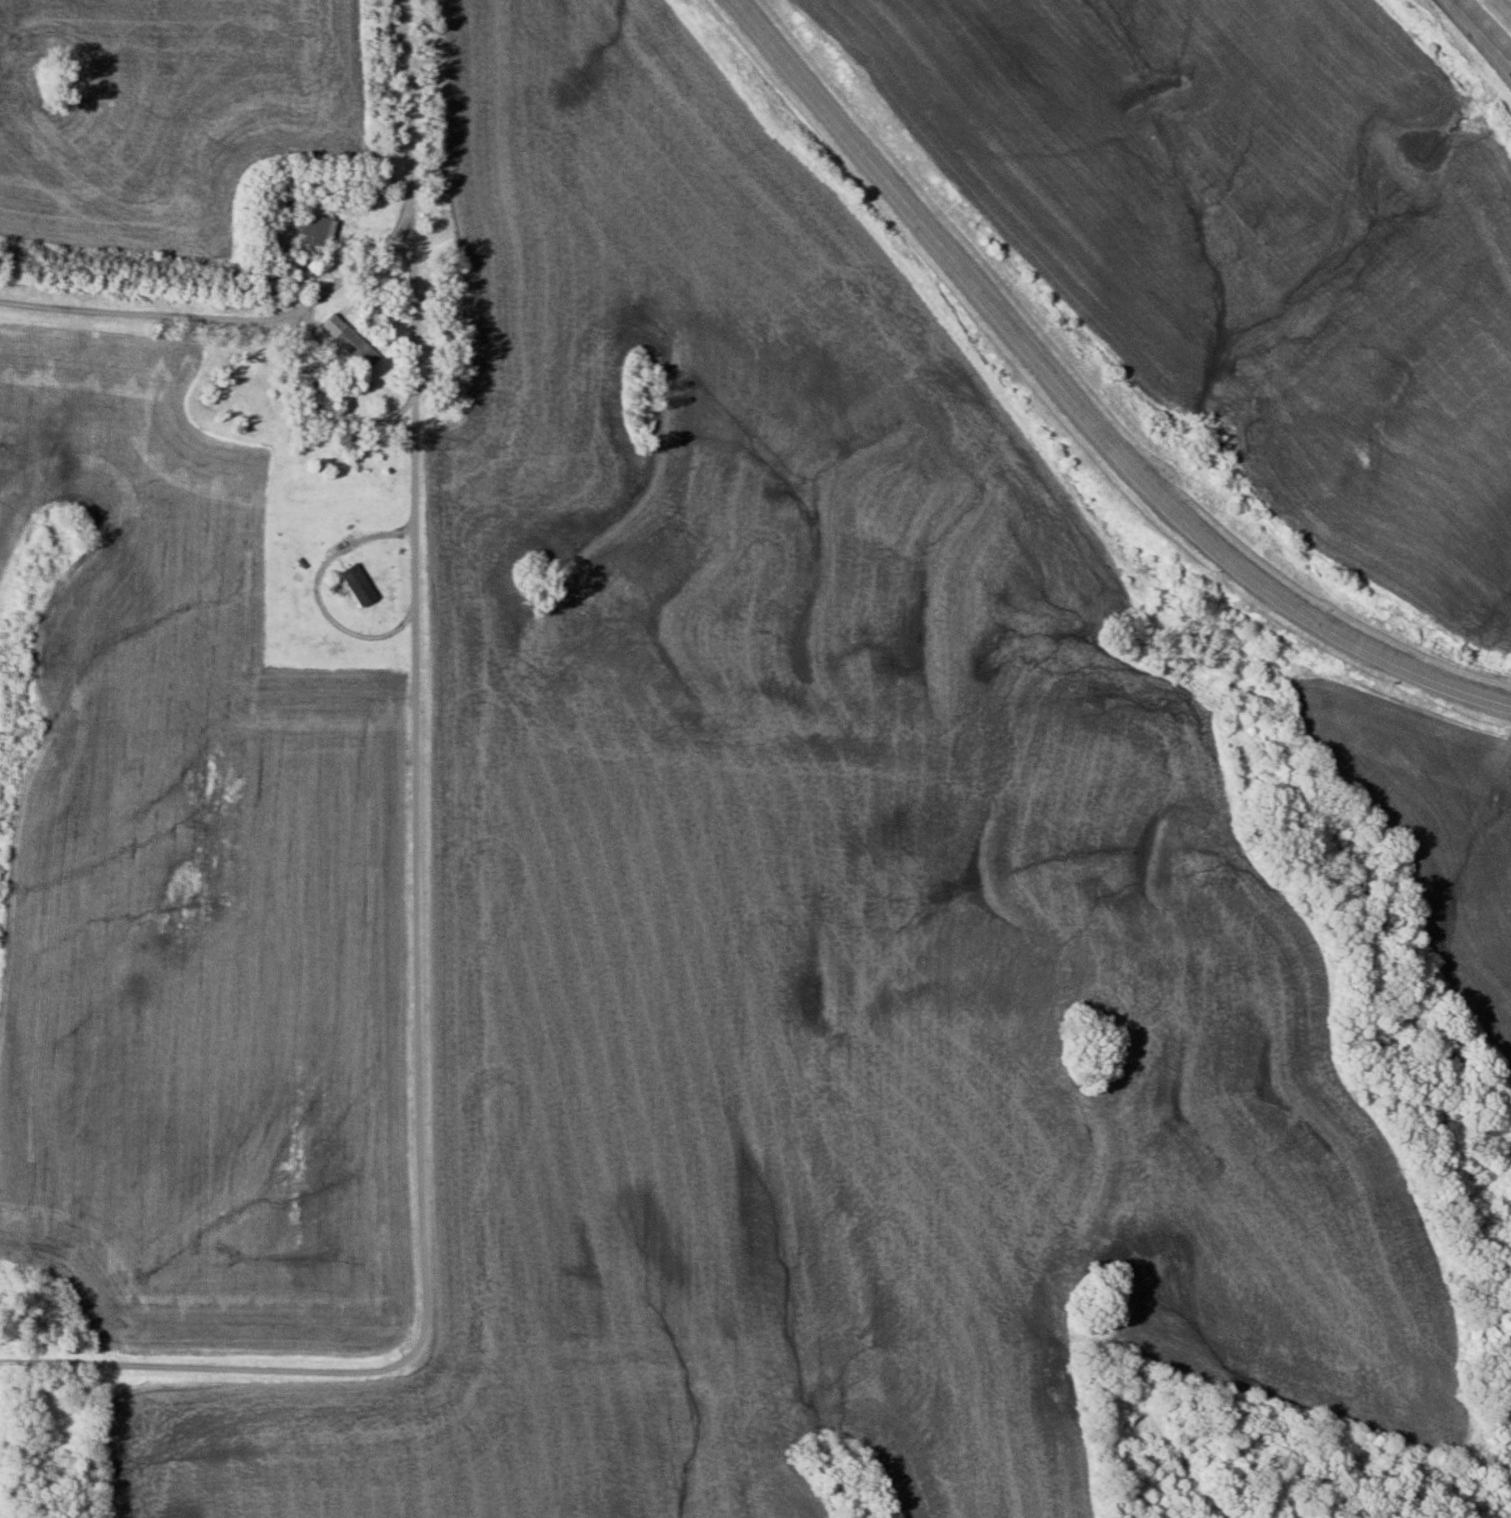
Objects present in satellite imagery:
road: (1484, 27)
building: (308, 229)
road: (324, 295)
building: (351, 349)
road: (1080, 407)
road: (405, 409)
building: (351, 584)
road: (421, 1088)

